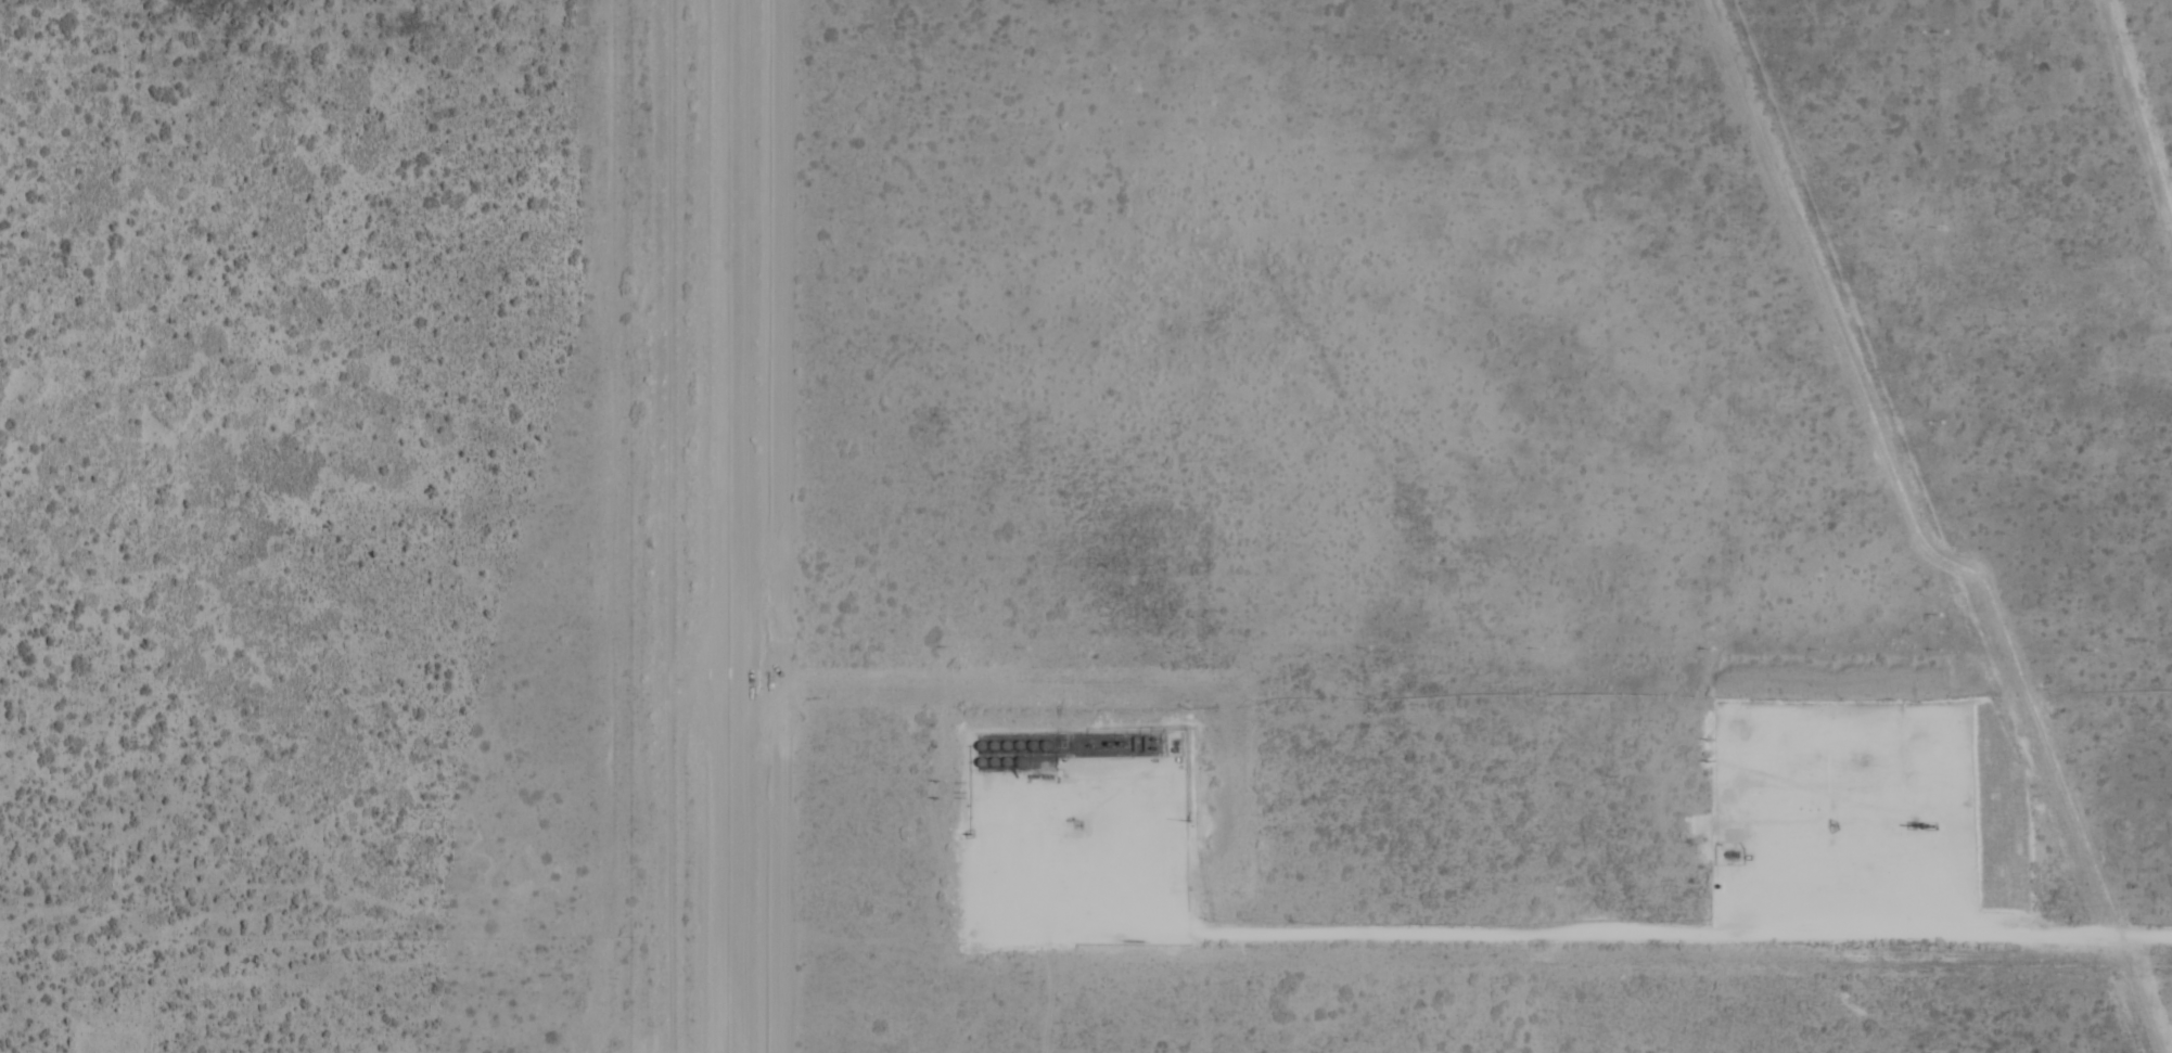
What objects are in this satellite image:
road: (1849, 820)
petroleum well: (1076, 821)
petroleum well: (1831, 824)
road: (1095, 860)
road: (1573, 936)

